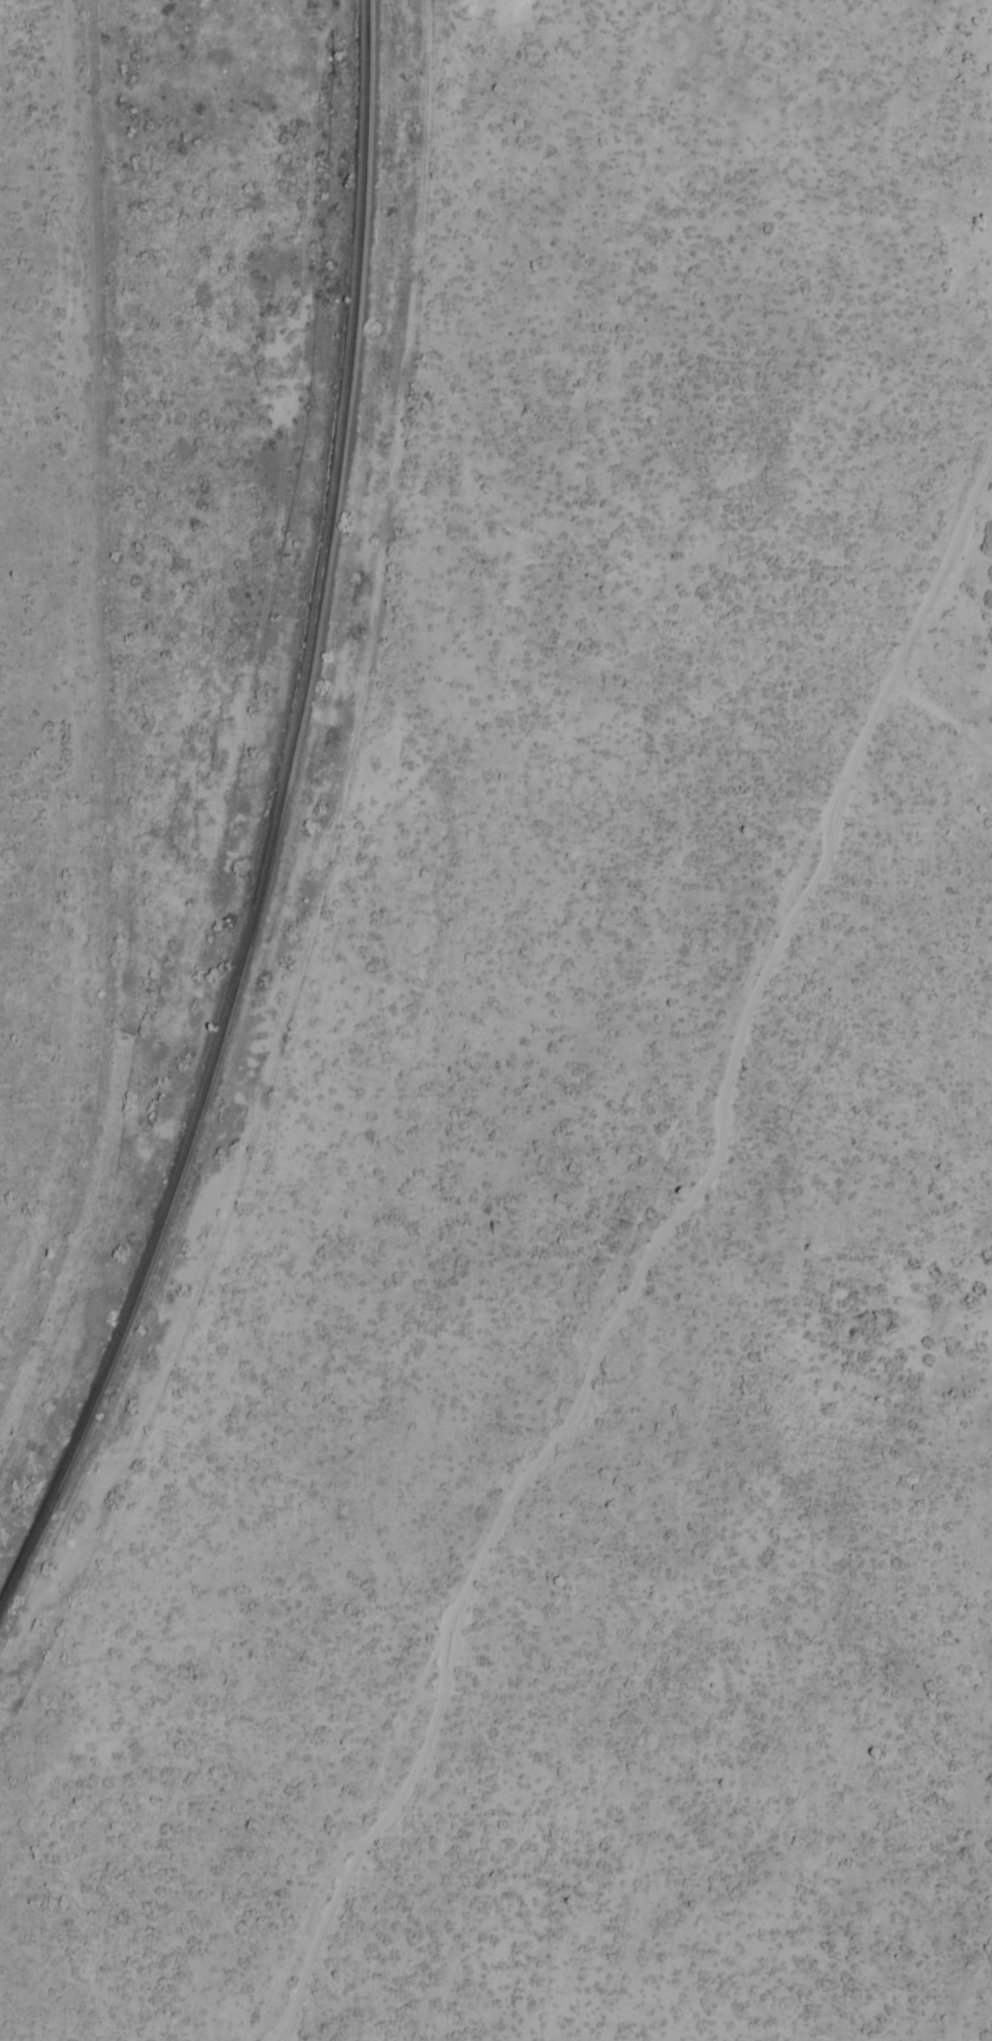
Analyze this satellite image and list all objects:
road: (85, 652)
railway: (279, 823)

